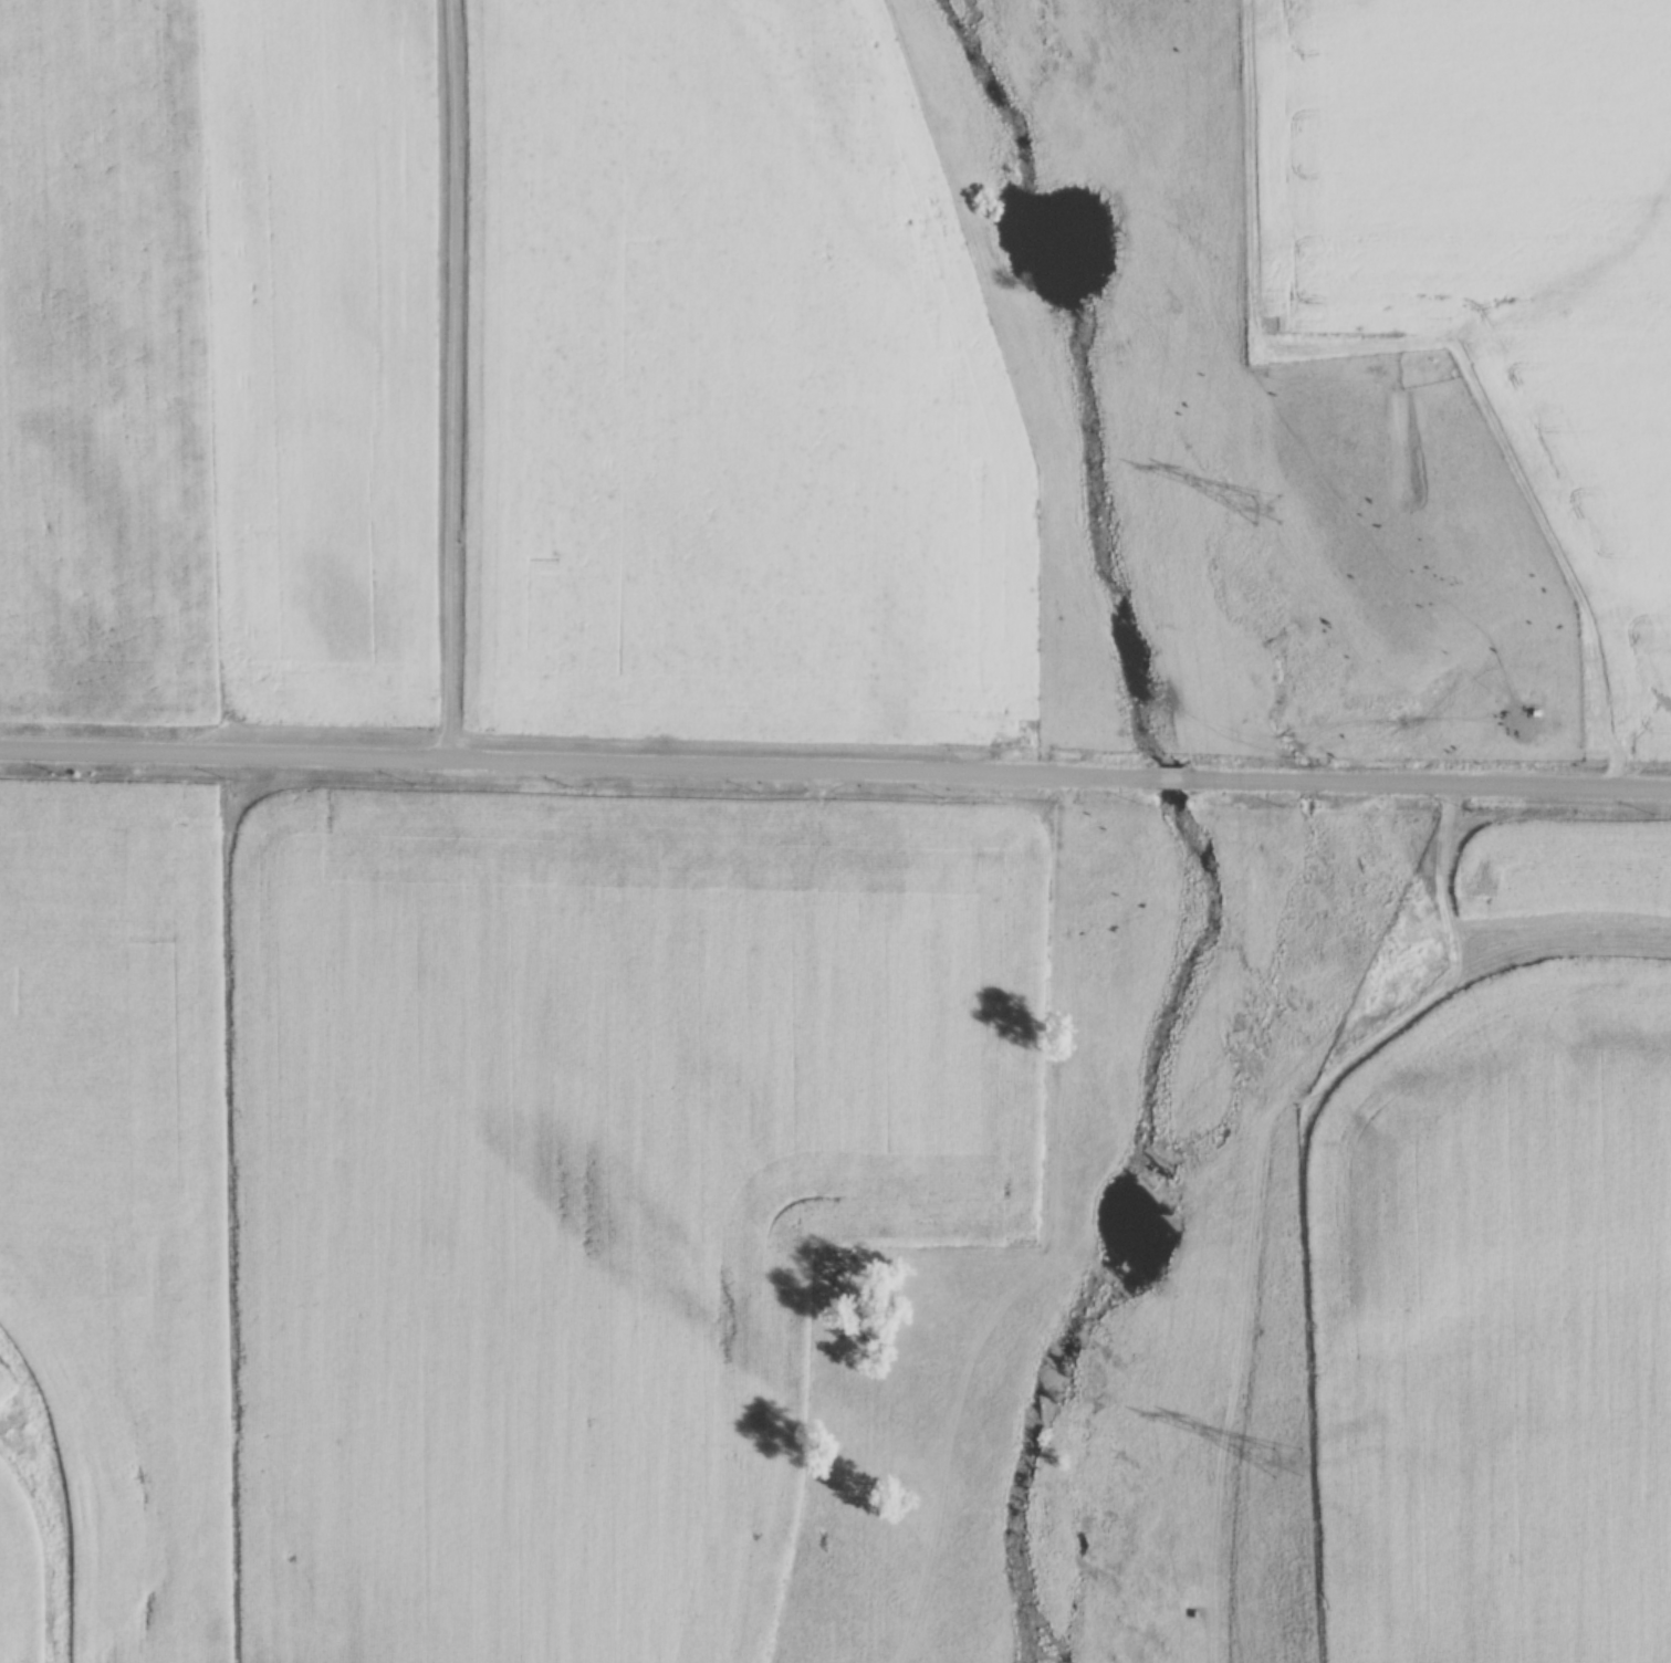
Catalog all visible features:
road: (451, 379)
power tower: (1261, 502)
road: (835, 768)
crop: (589, 1193)
power tower: (1283, 1457)
crop: (19, 1577)

